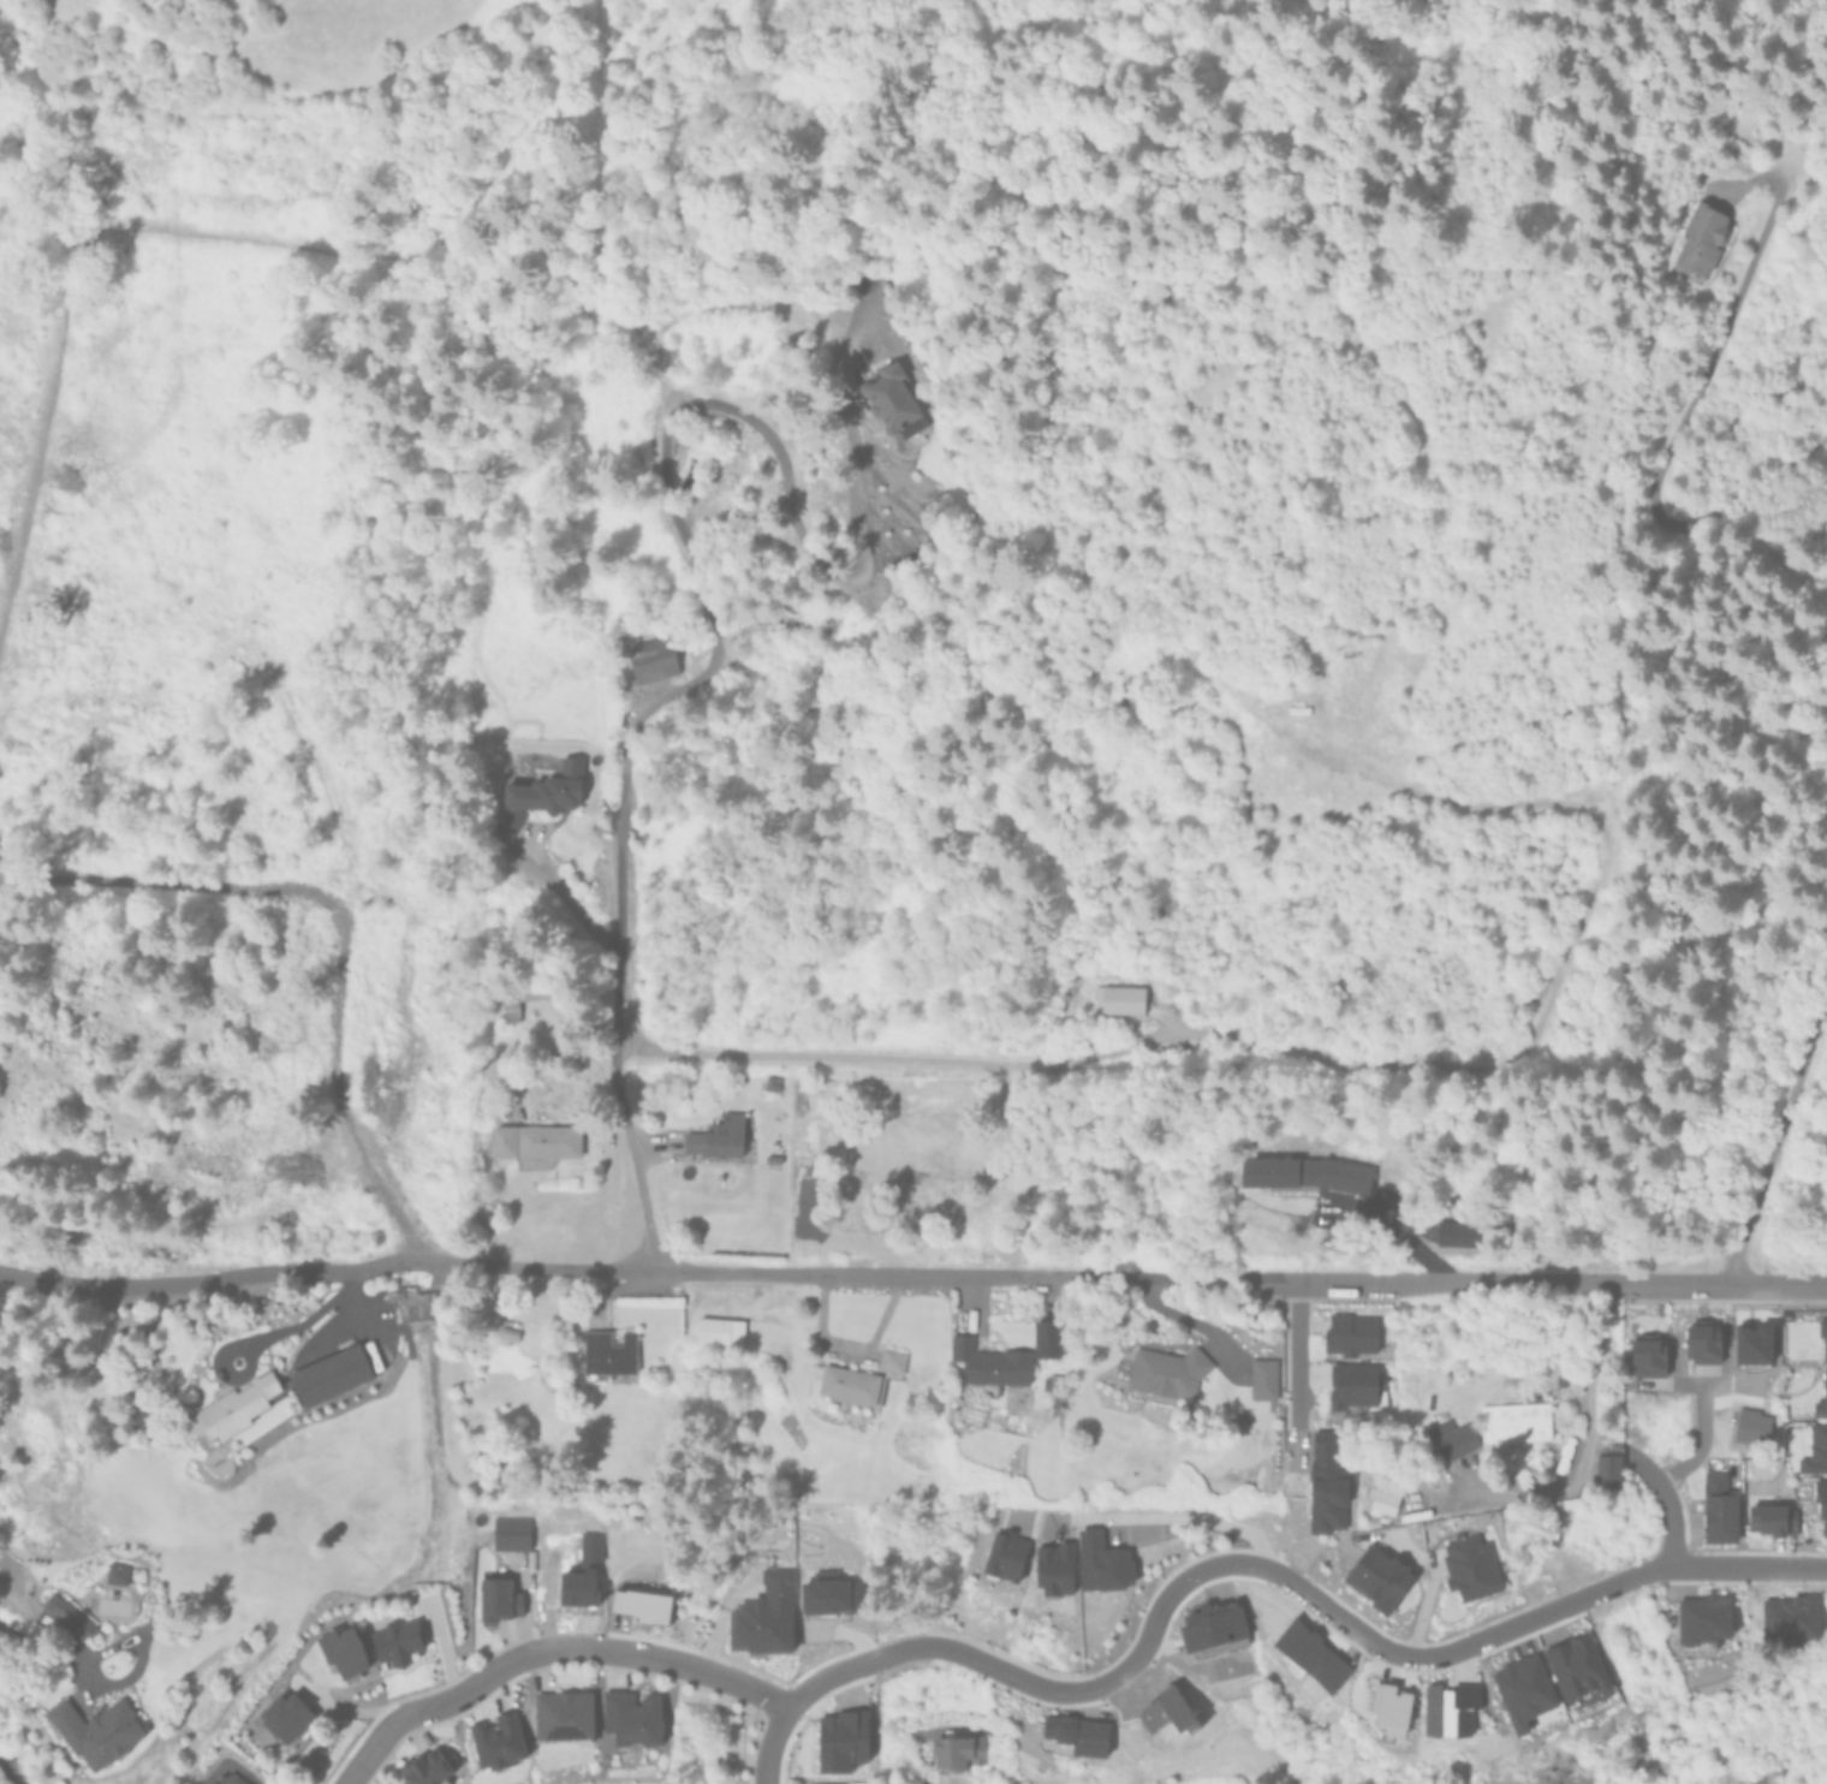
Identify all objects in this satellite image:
building: (1702, 238)
building: (888, 398)
road: (1674, 441)
road: (810, 551)
building: (654, 668)
building: (541, 793)
road: (623, 874)
building: (1118, 999)
building: (508, 1009)
road: (1087, 1052)
road: (811, 1057)
road: (1785, 1123)
building: (716, 1137)
building: (534, 1141)
building: (1304, 1173)
road: (1029, 1273)
road: (1720, 1277)
road: (222, 1280)
road: (304, 1320)
building: (715, 1330)
building: (1350, 1332)
building: (1042, 1336)
building: (1822, 1336)
building: (1701, 1344)
building: (605, 1350)
road: (1297, 1350)
building: (1646, 1352)
building: (987, 1361)
building: (855, 1376)
building: (1260, 1376)
building: (1052, 1378)
building: (1162, 1378)
building: (1560, 1378)
building: (1352, 1385)
building: (1823, 1385)
building: (273, 1391)
building: (1512, 1420)
road: (1588, 1423)
building: (1749, 1425)
road: (1697, 1437)
building: (1447, 1438)
building: (1814, 1452)
building: (1606, 1468)
building: (1326, 1483)
building: (1381, 1492)
road: (1664, 1498)
building: (1716, 1508)
road: (1171, 1515)
building: (1769, 1518)
building: (1822, 1518)
building: (508, 1530)
building: (1004, 1556)
building: (1101, 1562)
building: (1469, 1565)
building: (1053, 1568)
building: (115, 1571)
building: (1377, 1578)
building: (494, 1594)
road: (1323, 1600)
building: (63, 1612)
building: (763, 1614)
building: (1703, 1617)
building: (1210, 1624)
road: (54, 1627)
building: (395, 1641)
road: (522, 1648)
building: (341, 1649)
road: (696, 1664)
building: (1577, 1667)
road: (826, 1671)
building: (1522, 1689)
building: (1388, 1708)
building: (1448, 1708)
building: (1165, 1711)
building: (558, 1713)
building: (285, 1715)
building: (630, 1717)
road: (389, 1725)
building: (94, 1726)
building: (1077, 1732)
building: (841, 1740)
building: (496, 1741)
road: (767, 1741)
building: (954, 1749)
building: (421, 1766)
road: (5, 1774)
building: (221, 1778)

